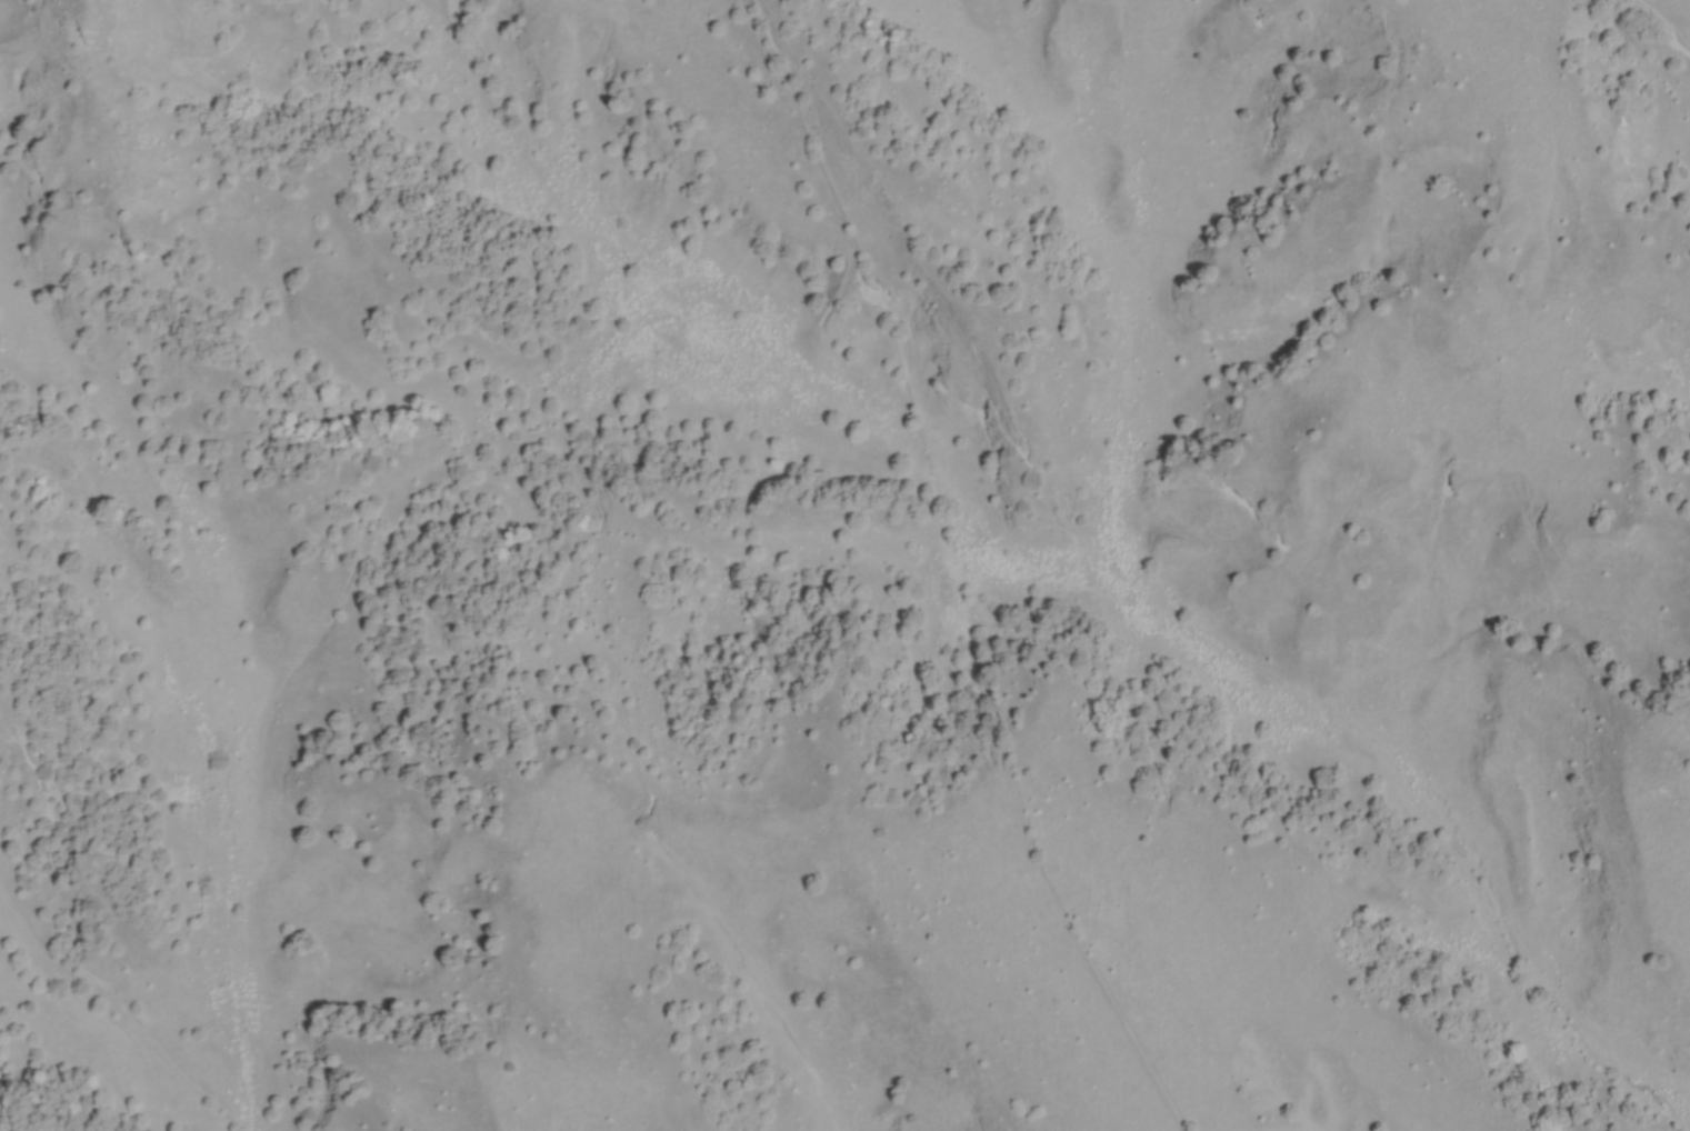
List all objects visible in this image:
power tower: (1674, 713)

